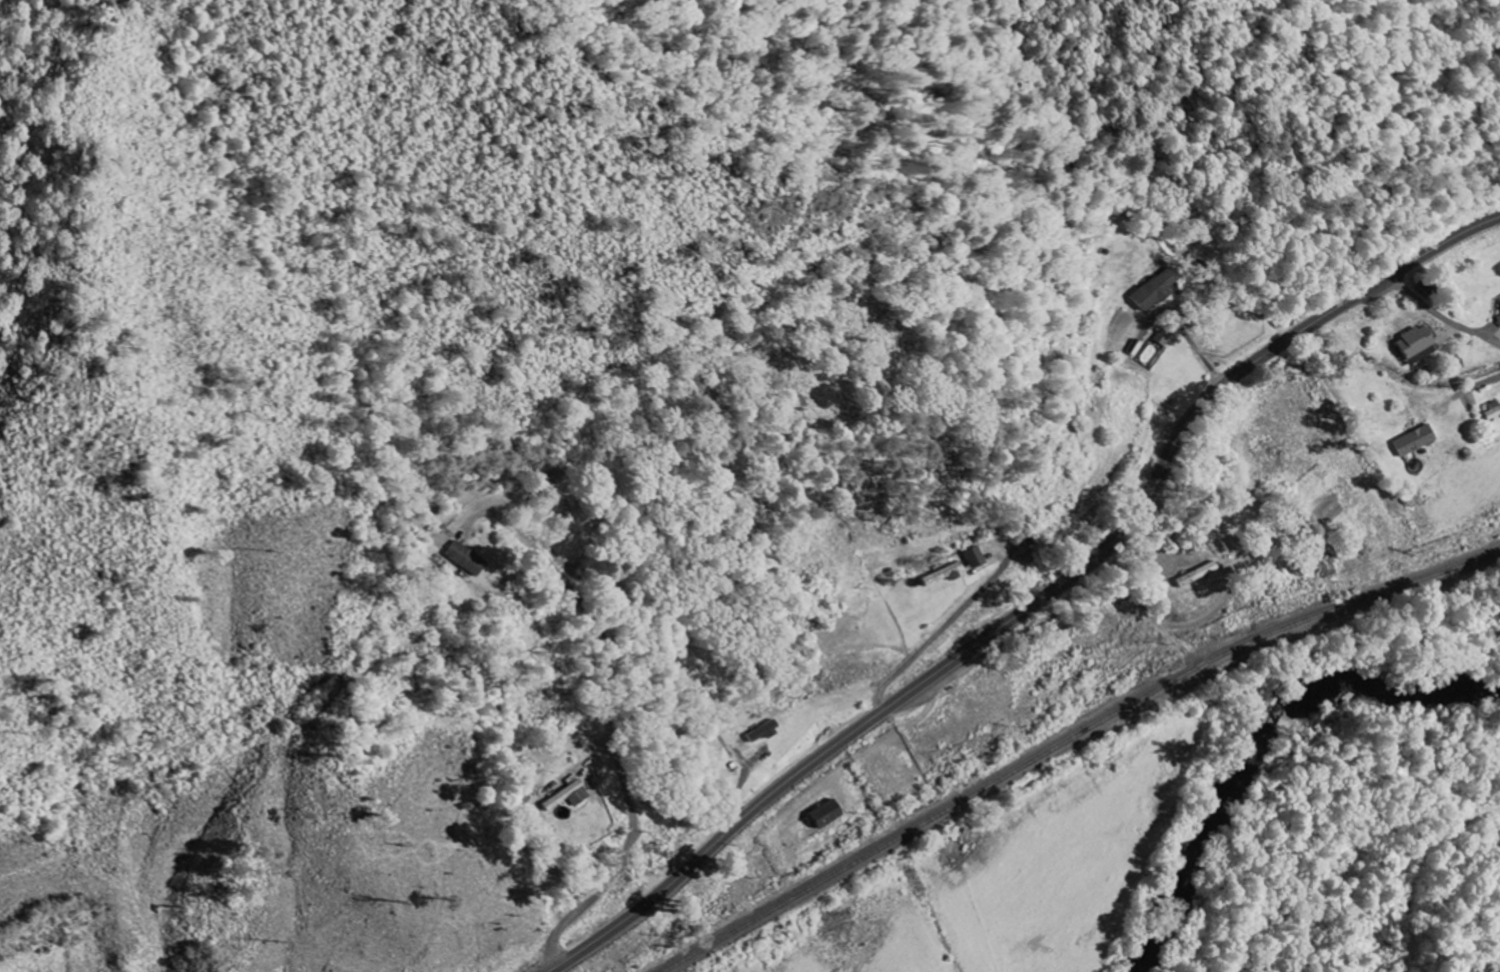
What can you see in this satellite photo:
building: (1157, 289)
road: (1438, 316)
building: (1165, 337)
building: (1414, 345)
road: (1474, 386)
building: (1492, 413)
building: (1414, 441)
building: (973, 557)
building: (464, 559)
building: (942, 574)
building: (1196, 575)
road: (1039, 602)
road: (1147, 606)
road: (1373, 719)
building: (763, 733)
road: (609, 735)
railway: (1071, 738)
building: (567, 797)
building: (826, 815)

